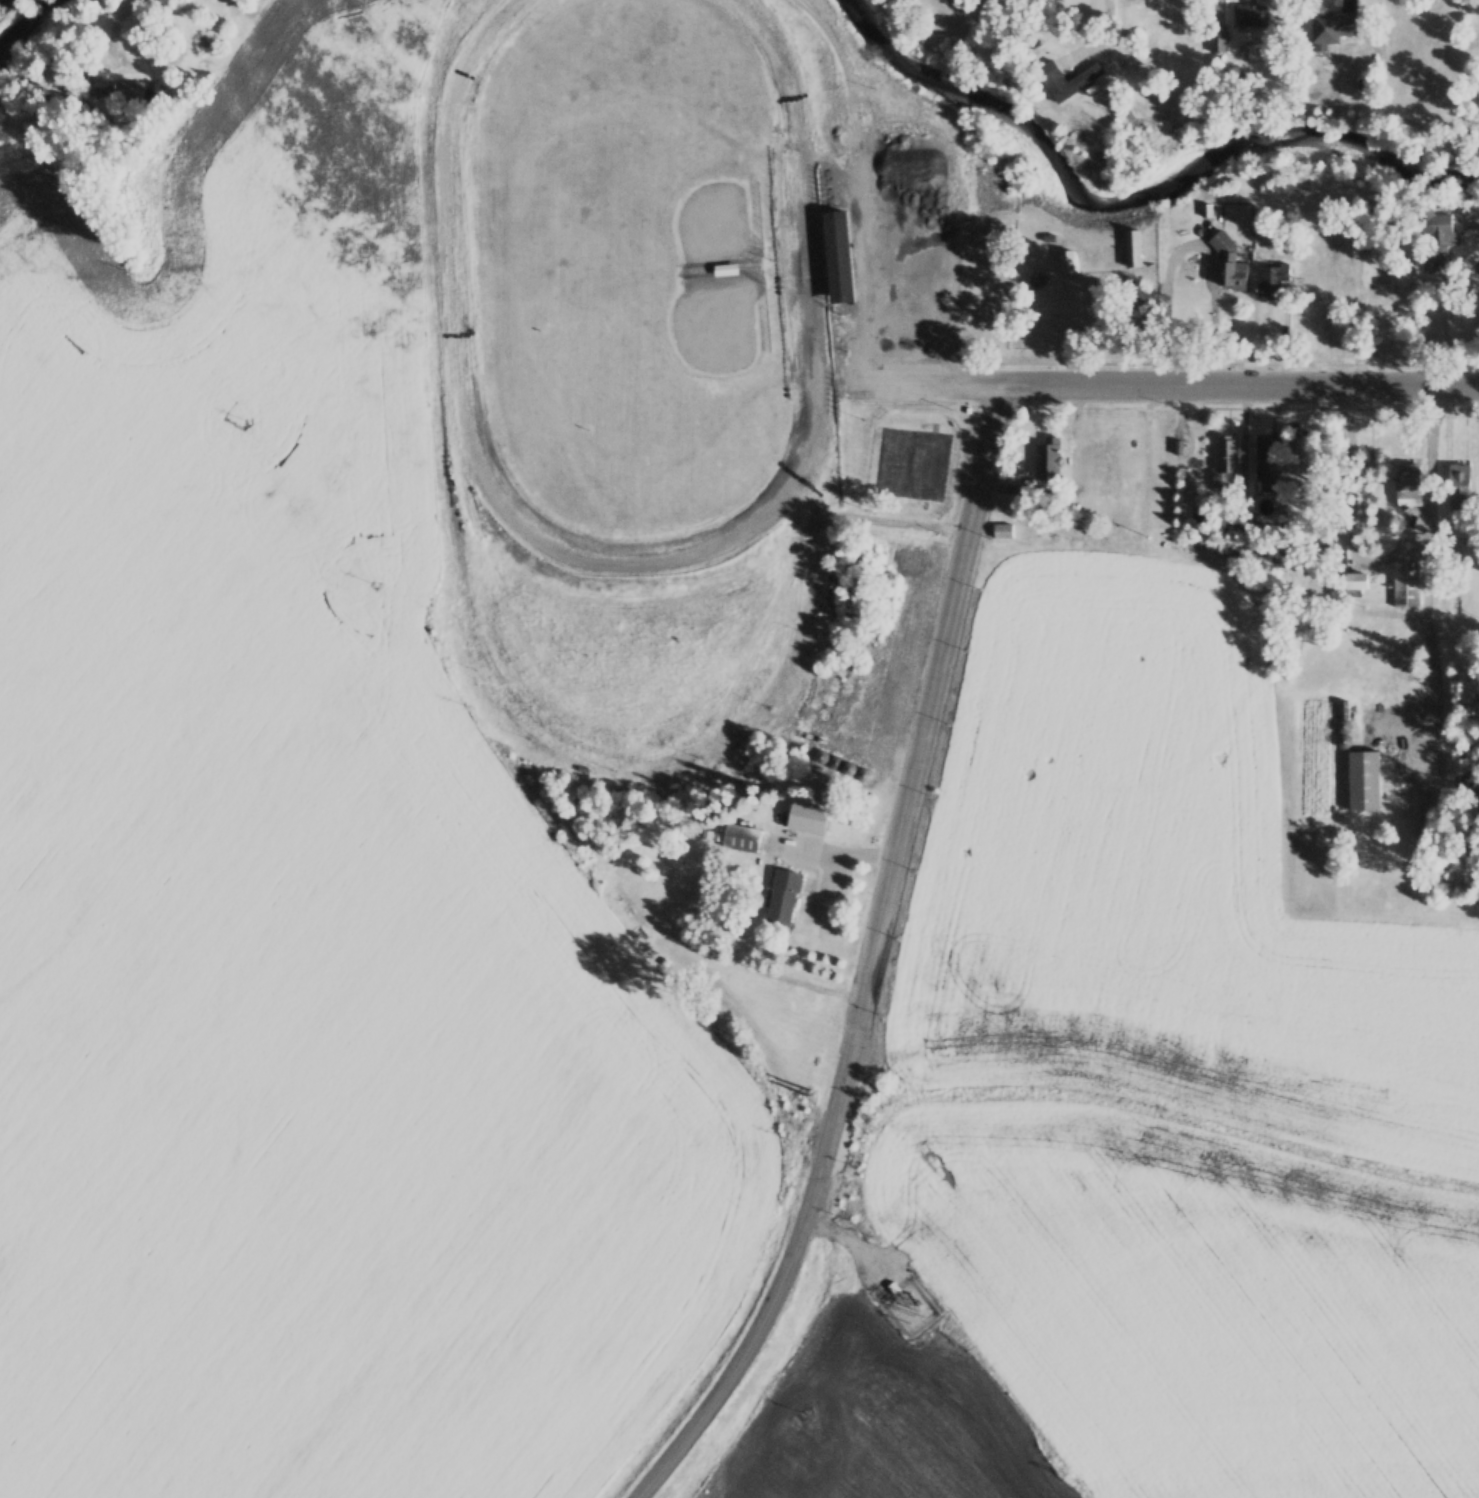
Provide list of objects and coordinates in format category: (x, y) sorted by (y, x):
building: (1251, 14)
building: (1331, 25)
road: (114, 30)
river: (39, 36)
building: (1216, 39)
building: (1066, 78)
park: (656, 178)
road: (859, 183)
river: (1134, 193)
road: (766, 208)
building: (1205, 208)
building: (1430, 222)
road: (938, 235)
building: (1047, 238)
parking lot: (909, 241)
building: (1130, 249)
building: (838, 255)
building: (1063, 258)
building: (1228, 259)
building: (1429, 260)
road: (755, 264)
building: (725, 268)
track: (633, 271)
building: (1035, 277)
park: (1084, 278)
building: (1271, 278)
road: (1132, 280)
building: (970, 284)
building: (1001, 304)
park: (629, 358)
road: (1174, 361)
park: (674, 370)
road: (935, 384)
road: (1239, 386)
road: (1237, 405)
building: (1045, 458)
building: (1268, 462)
park: (910, 463)
building: (1226, 465)
building: (1459, 481)
building: (1407, 486)
building: (1004, 532)
building: (1356, 579)
building: (1405, 584)
building: (1344, 725)
silo: (1344, 725)
building: (1343, 741)
silo: (1343, 741)
road: (918, 743)
building: (820, 756)
silo: (820, 756)
building: (835, 761)
silo: (835, 761)
building: (850, 767)
silo: (850, 767)
building: (864, 773)
silo: (864, 773)
building: (1364, 779)
building: (807, 817)
building: (740, 836)
crop: (295, 879)
building: (783, 895)
power substation: (910, 1303)
road: (764, 1313)

